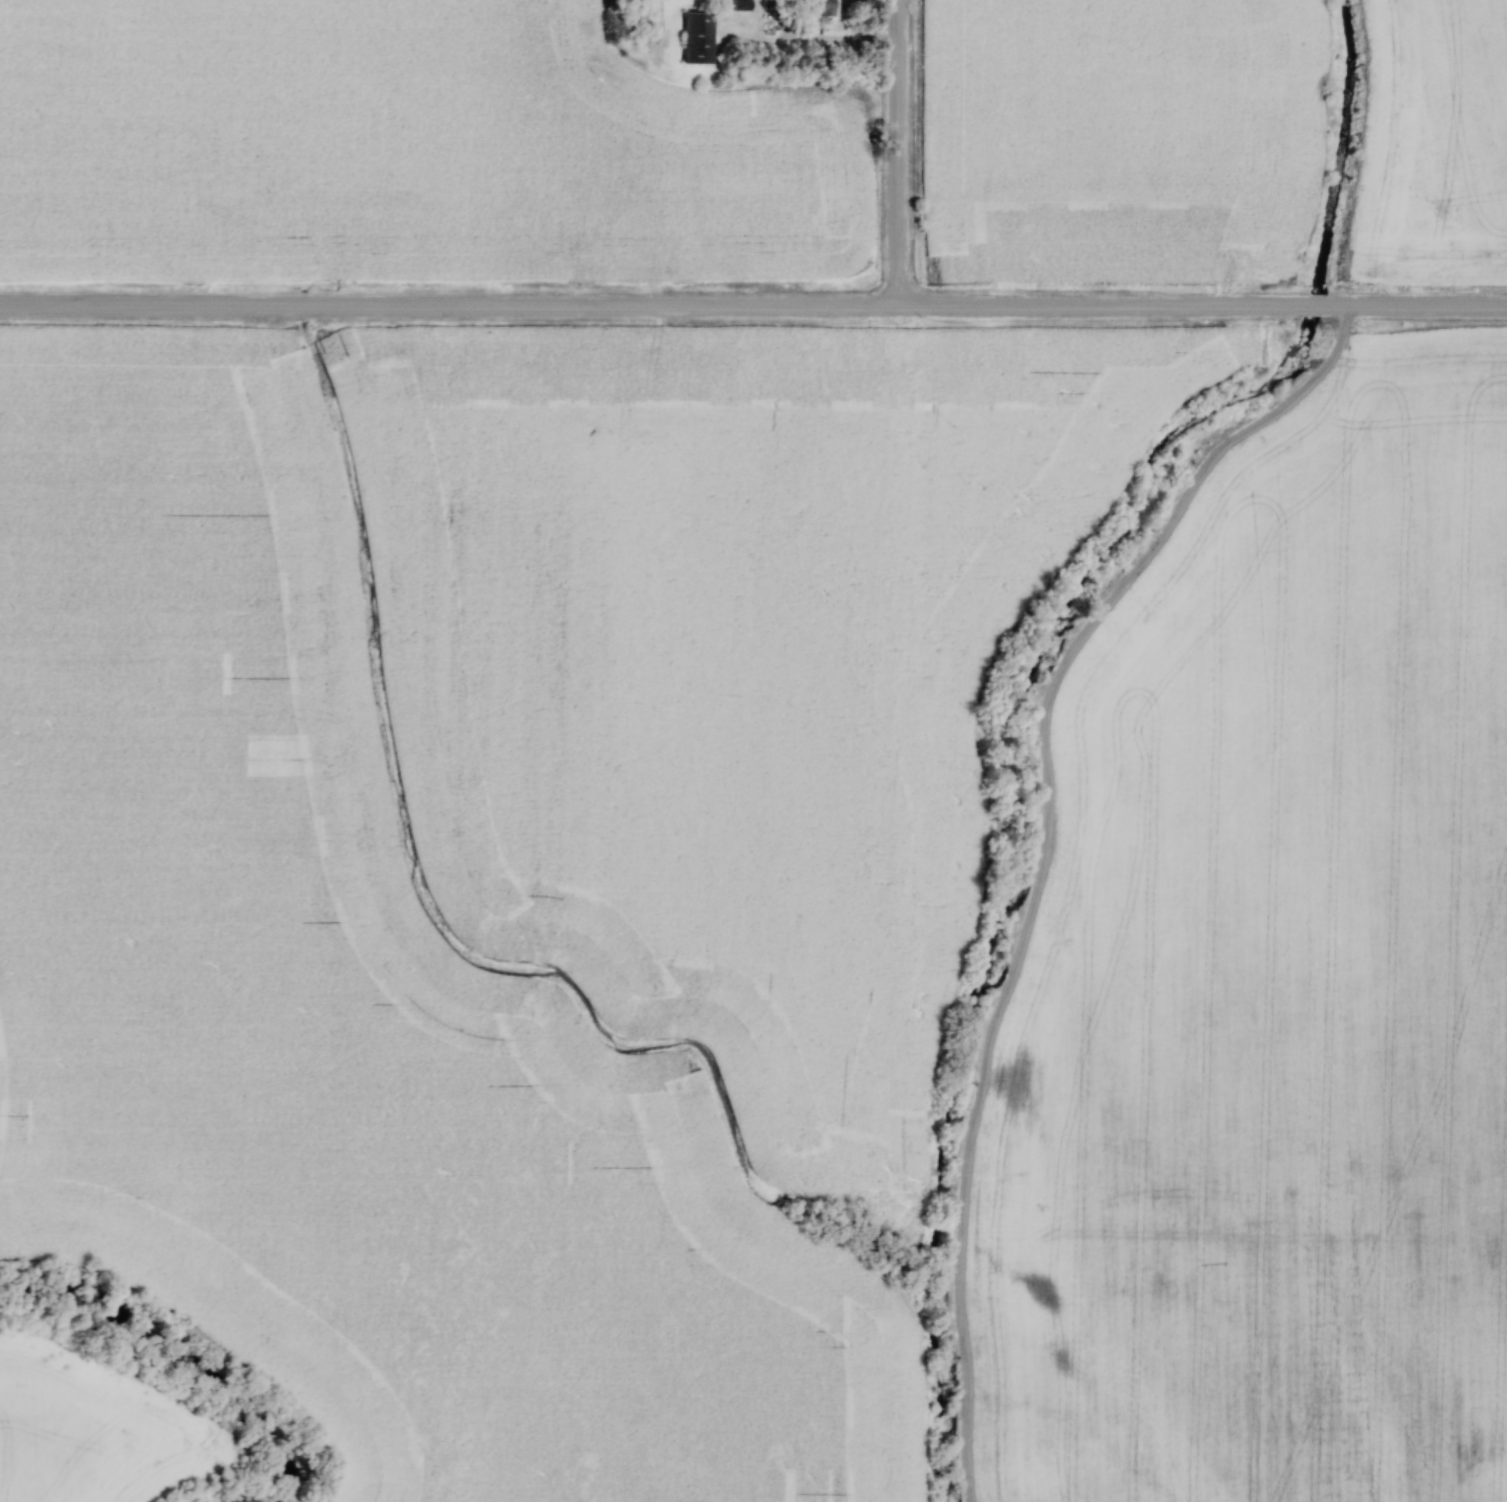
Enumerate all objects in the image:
building: (813, 9)
building: (692, 38)
road: (898, 152)
road: (753, 305)
river: (189, 1357)

